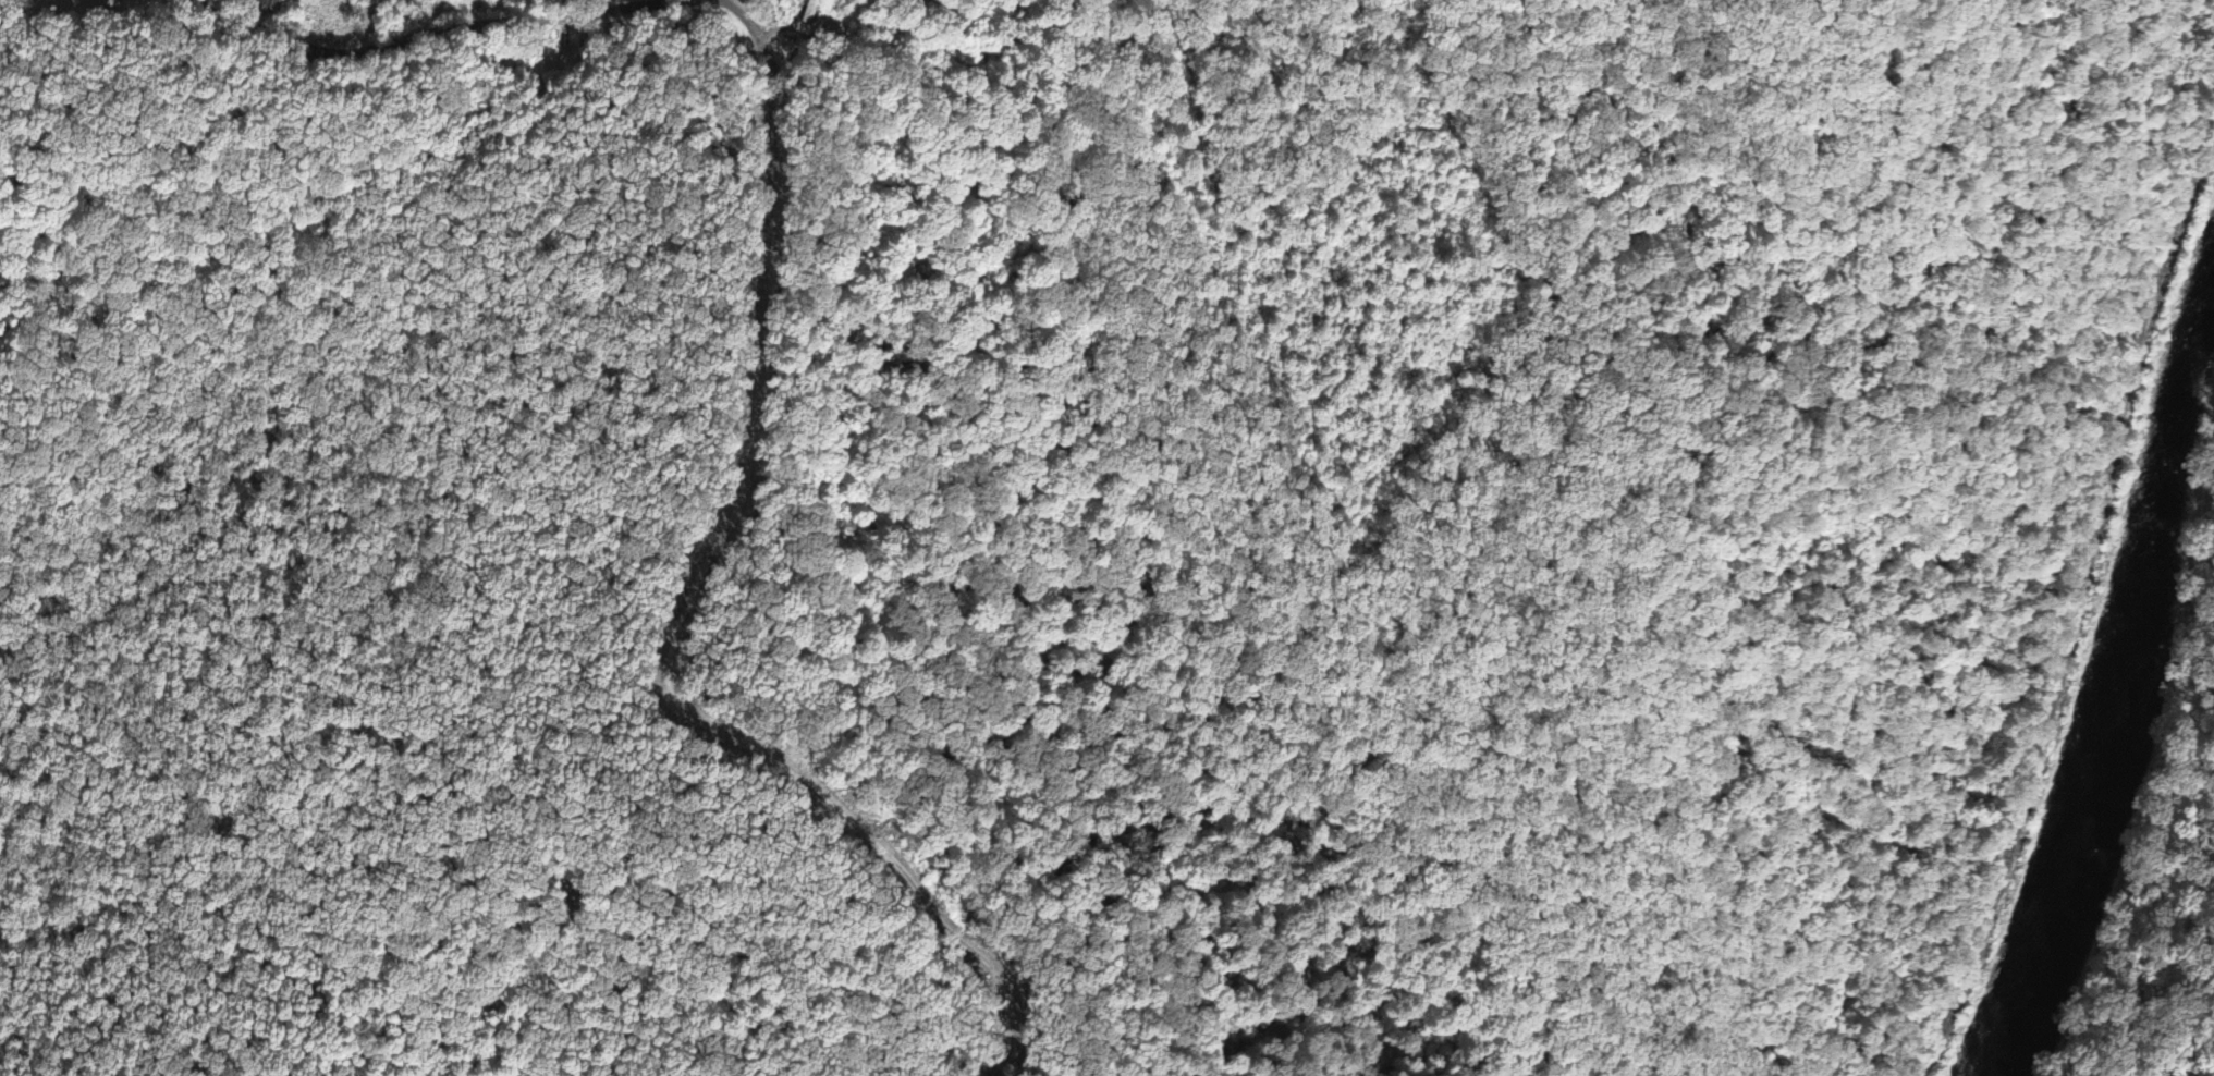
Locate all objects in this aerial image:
building: (269, 7)
road: (468, 37)
building: (565, 60)
railway: (2023, 538)
river: (2113, 677)

